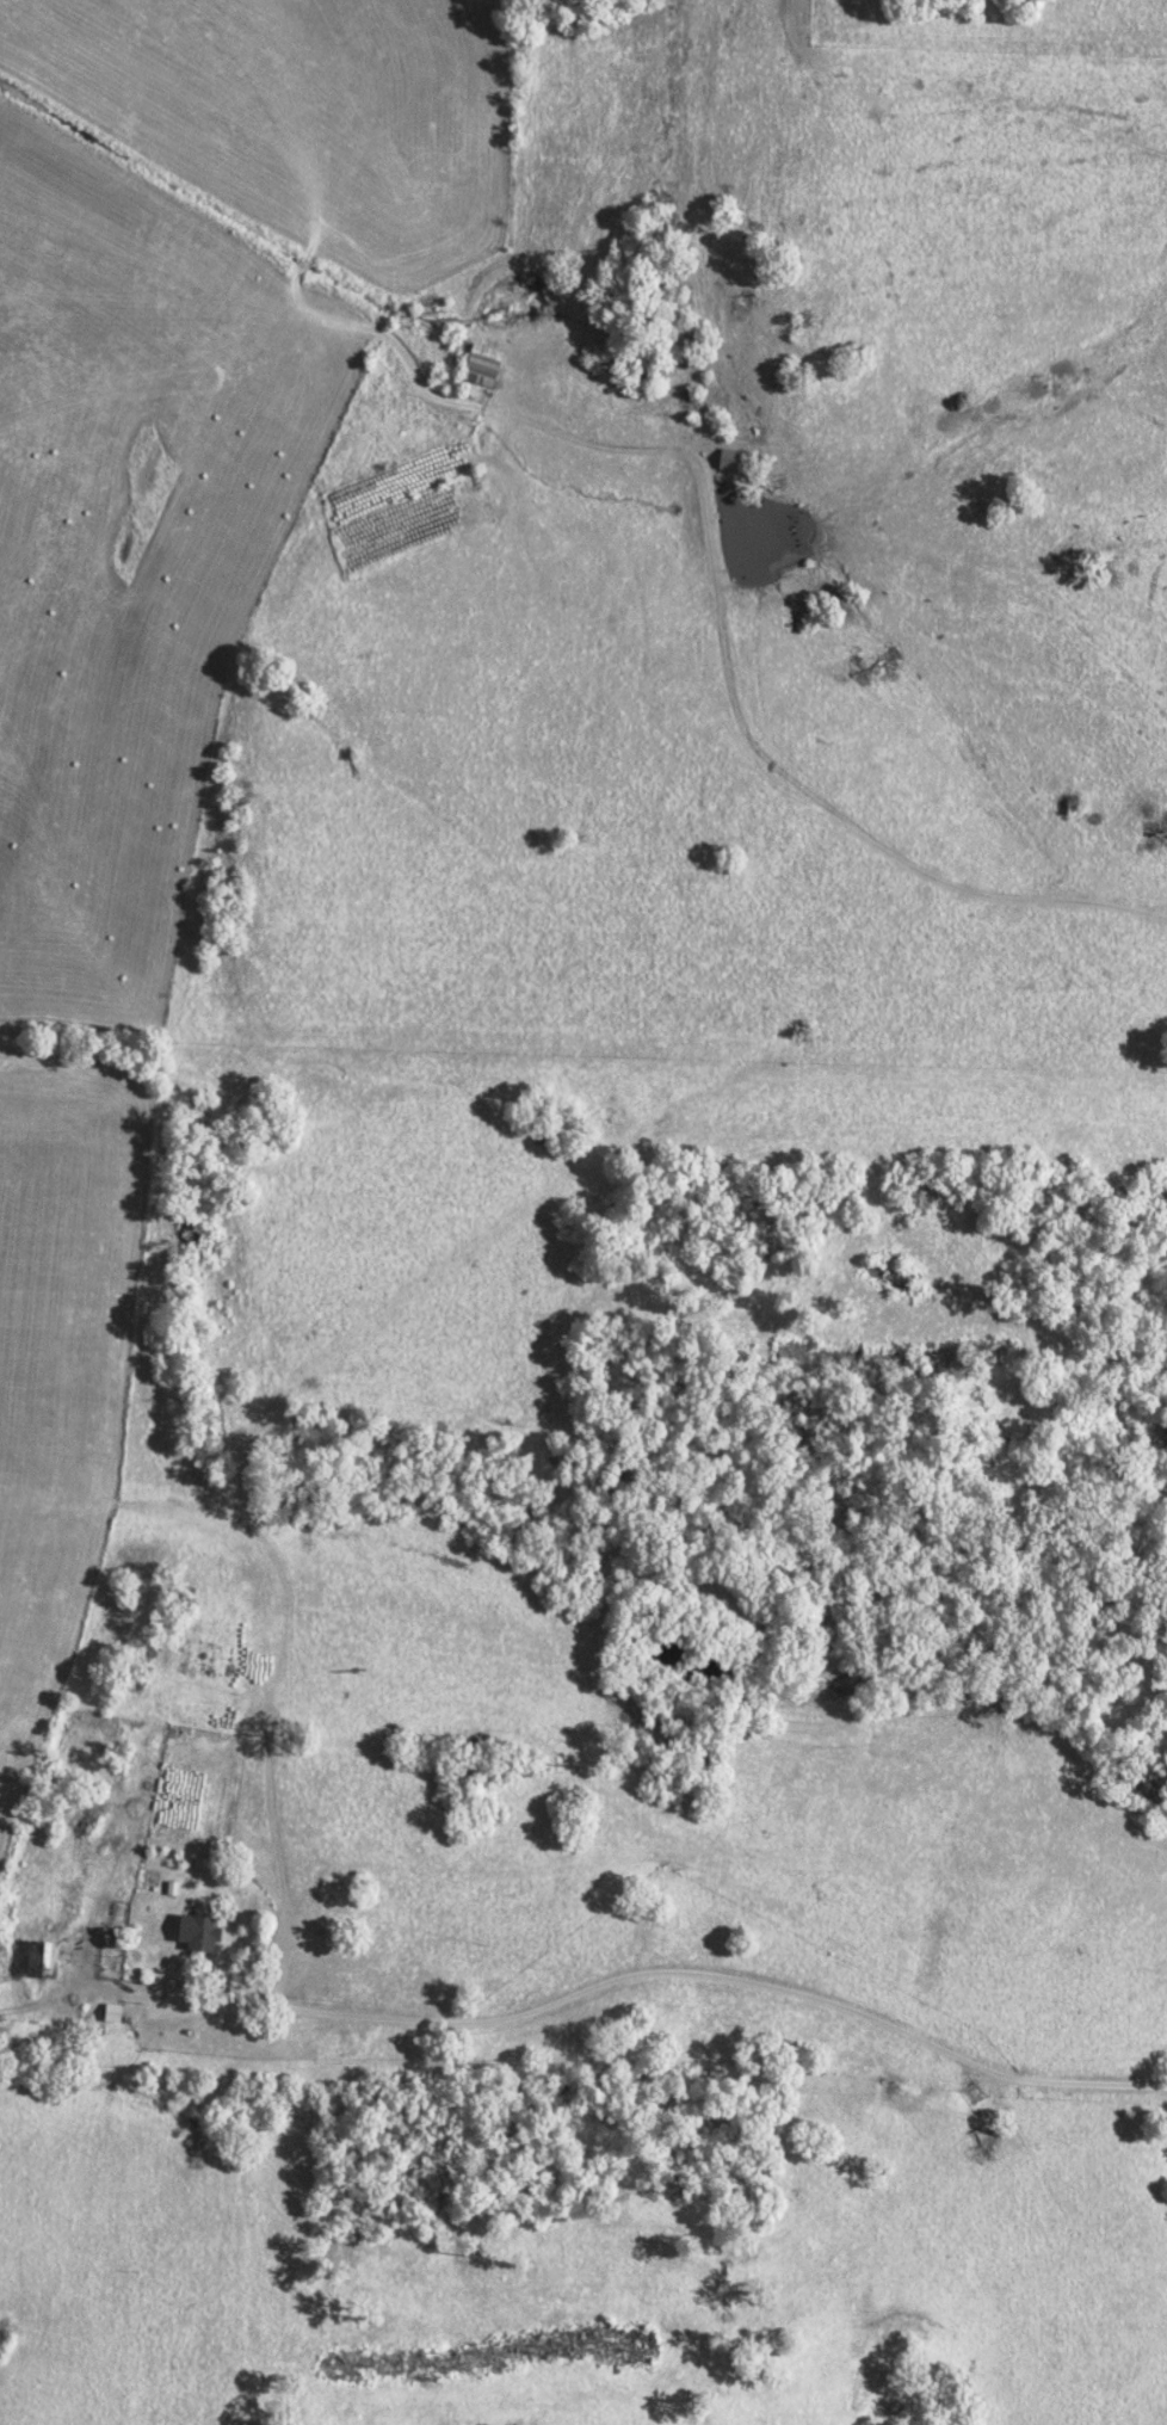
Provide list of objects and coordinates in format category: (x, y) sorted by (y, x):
road: (680, 222)
building: (482, 365)
building: (728, 459)
road: (740, 703)
building: (199, 1935)
building: (41, 1961)
road: (660, 1972)
building: (110, 2012)

